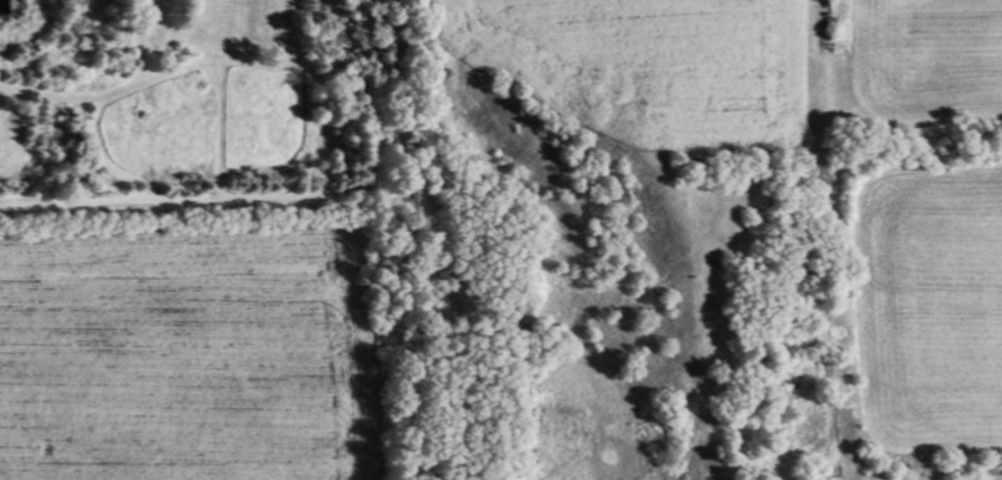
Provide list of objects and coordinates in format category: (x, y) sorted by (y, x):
road: (402, 240)

